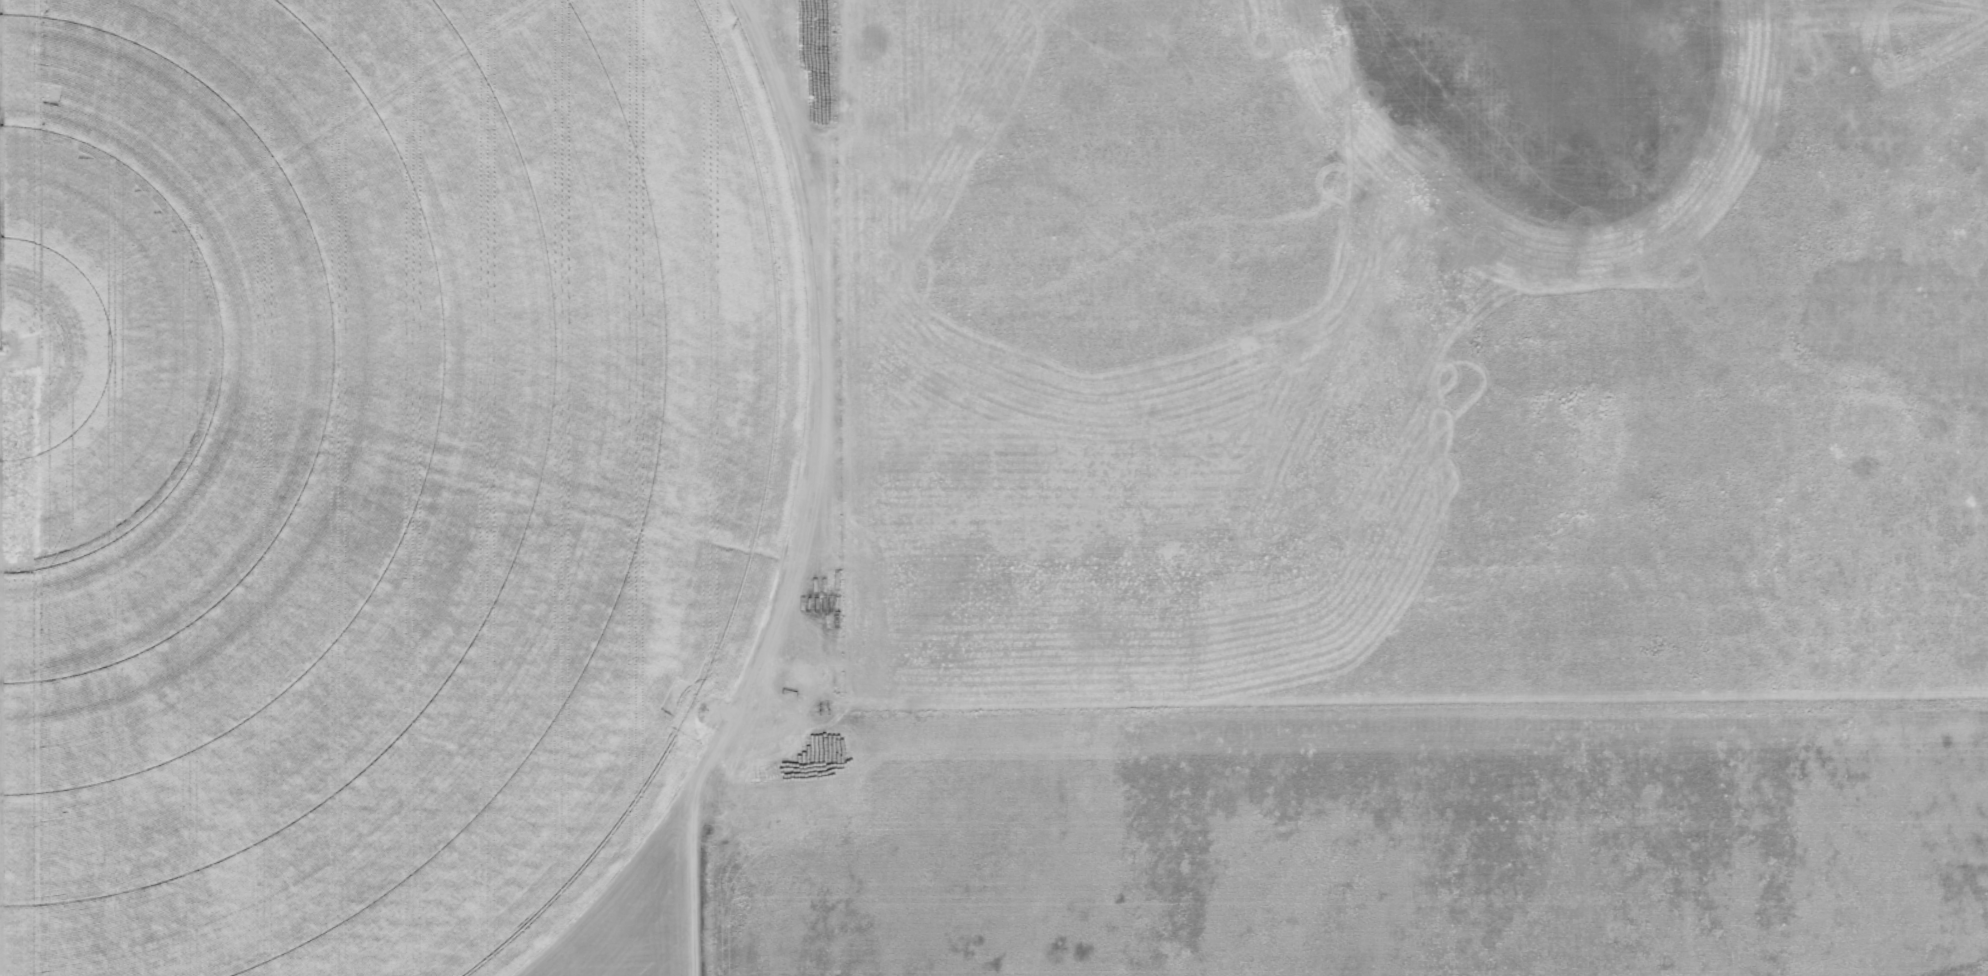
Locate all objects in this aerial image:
road: (678, 488)

